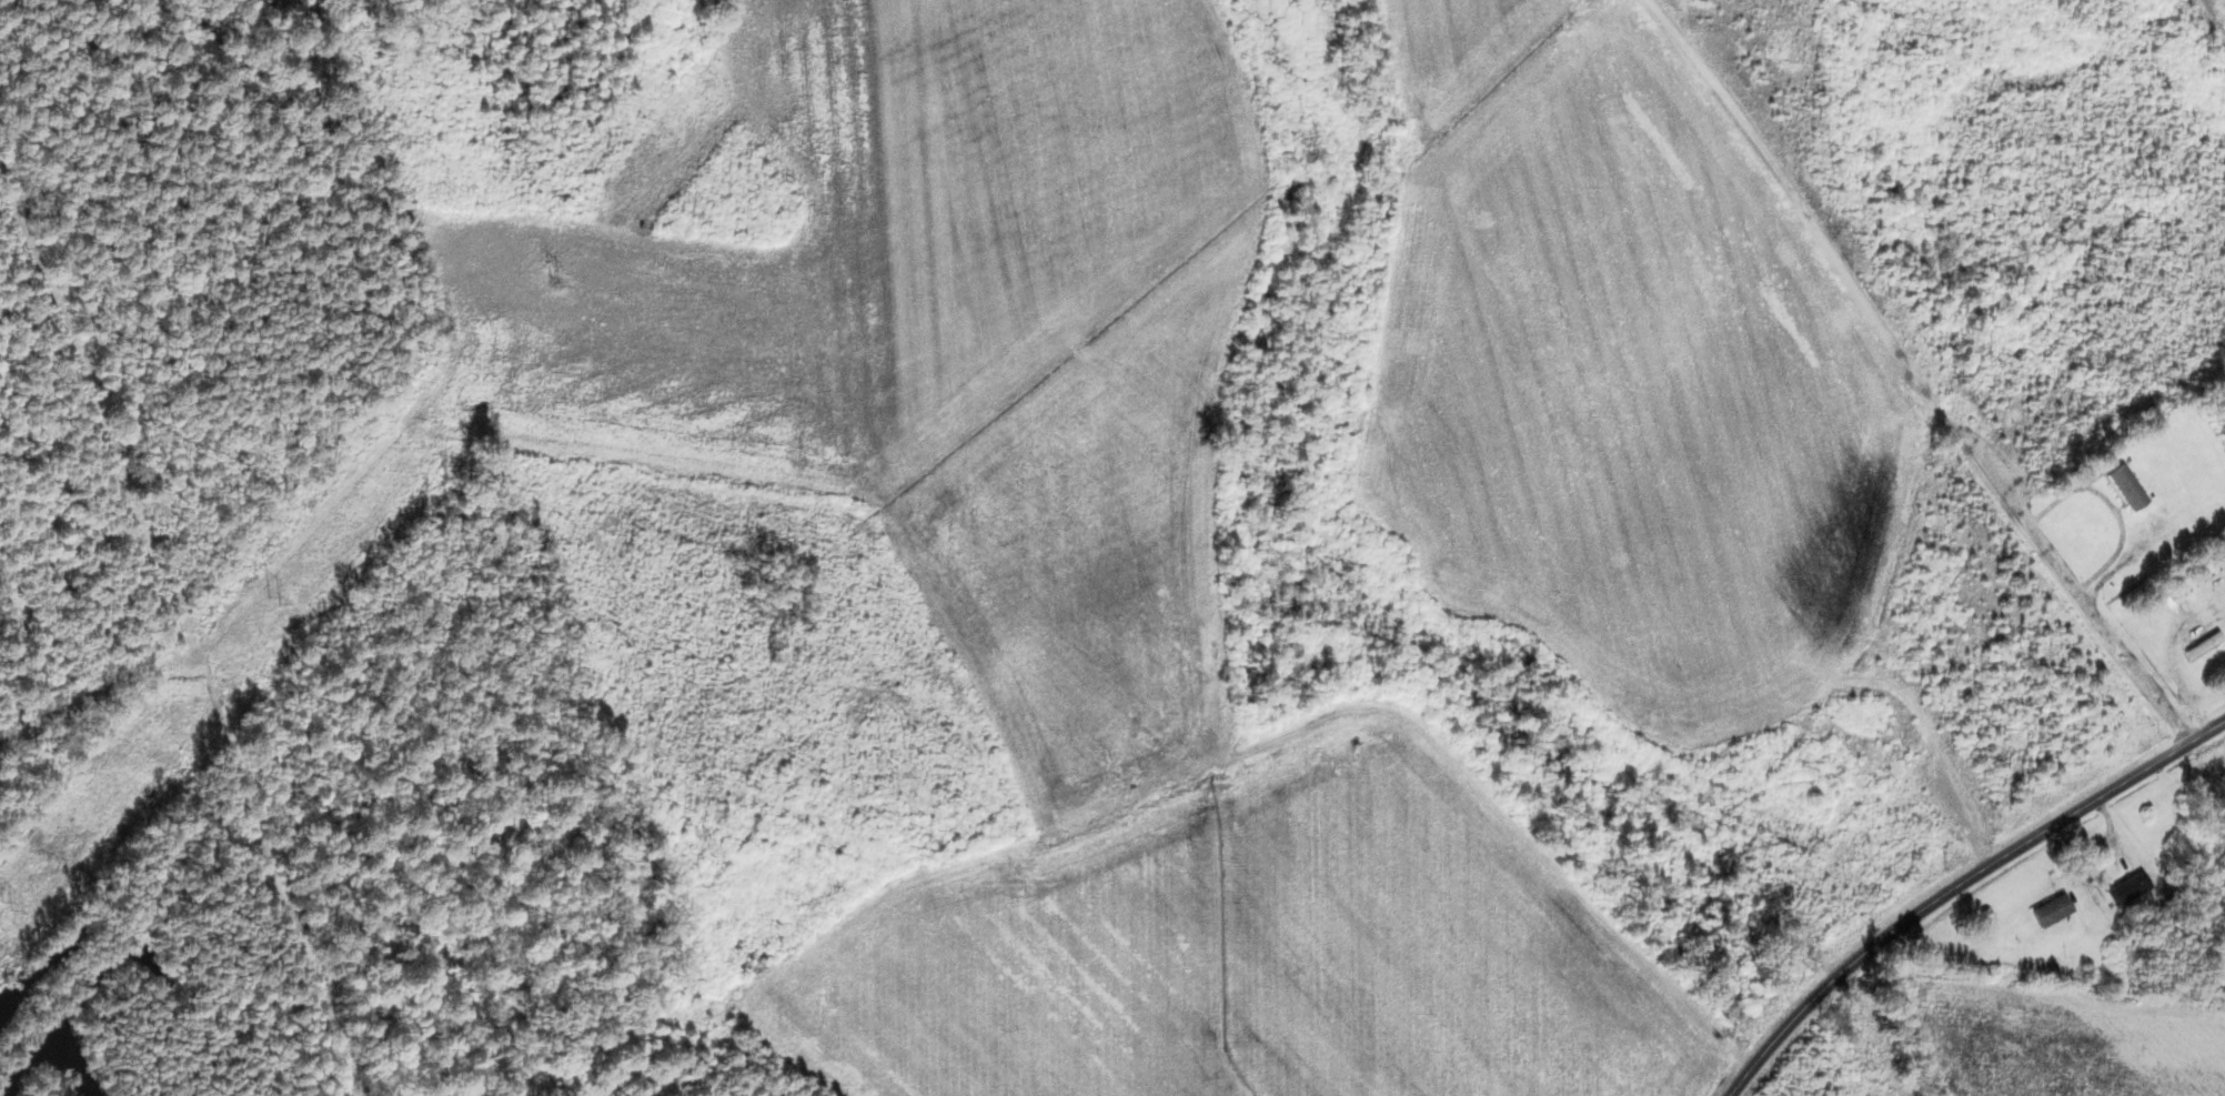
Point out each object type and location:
road: (2222, 127)
power tower: (554, 280)
building: (2132, 487)
power tower: (278, 600)
road: (1225, 765)
road: (1959, 886)
building: (2132, 889)
power tower: (9, 905)
building: (2057, 911)
road: (2113, 969)

